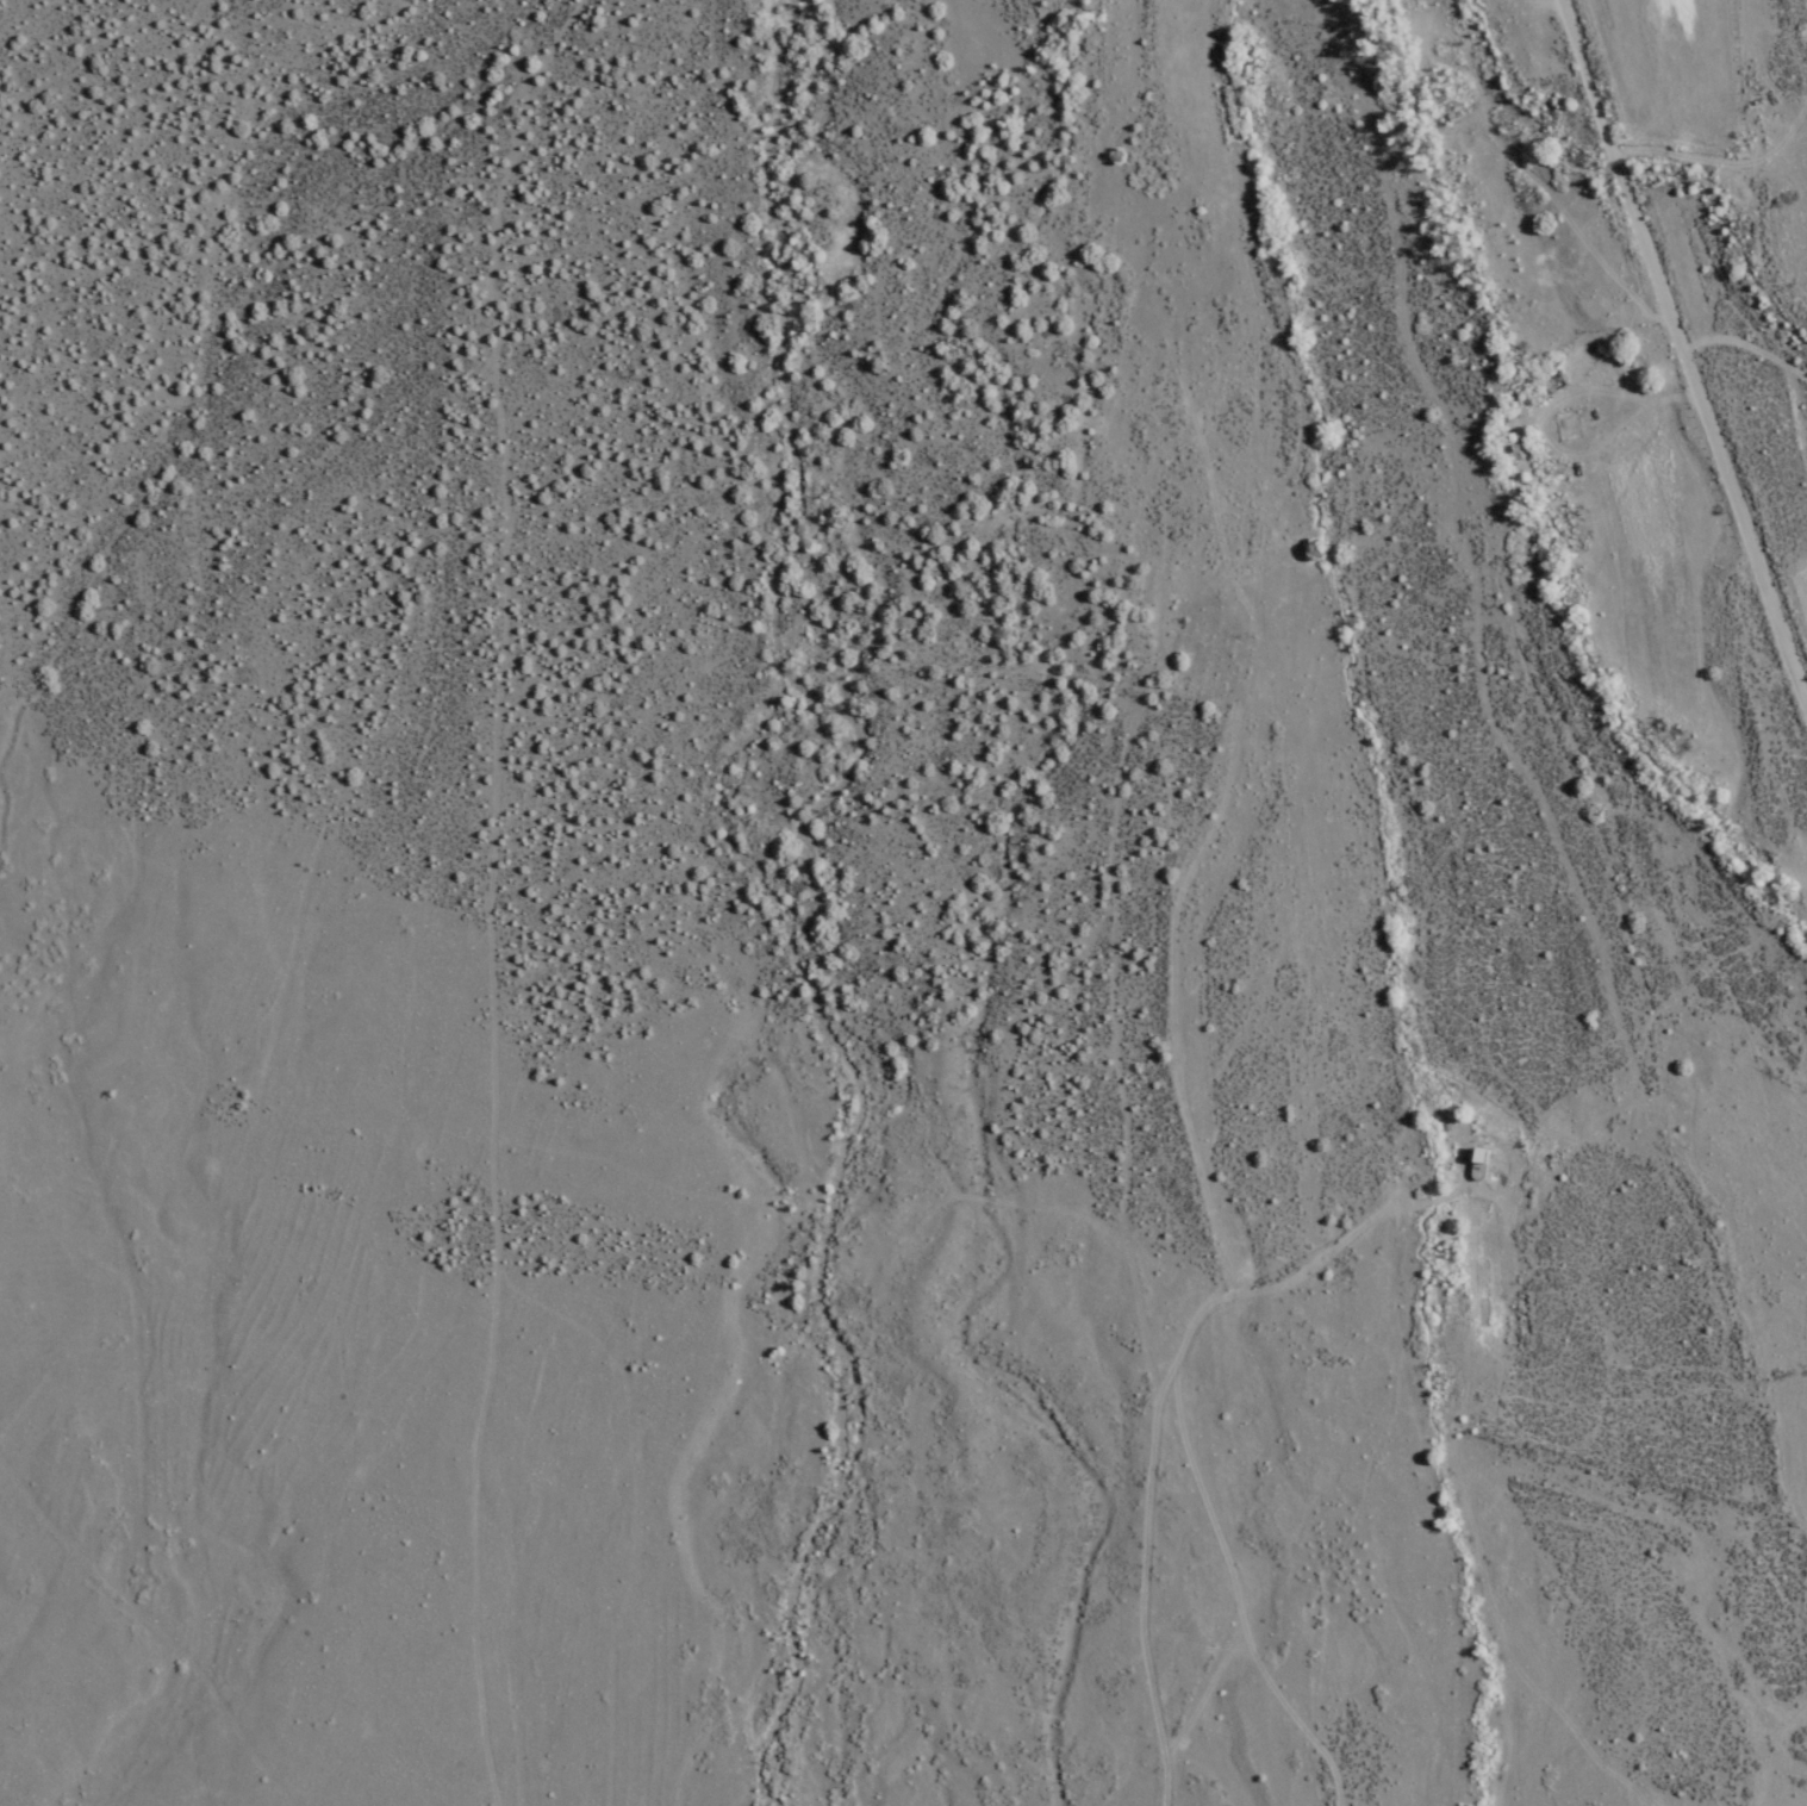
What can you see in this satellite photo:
road: (1688, 357)

